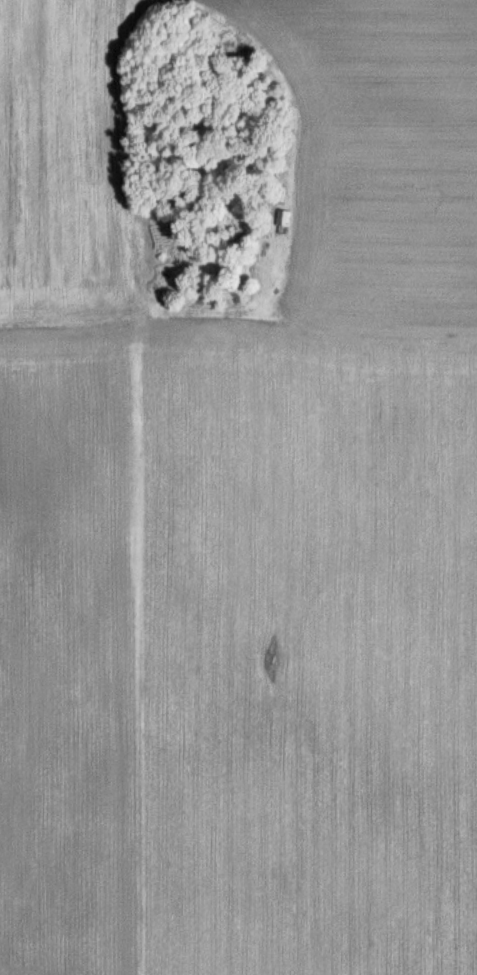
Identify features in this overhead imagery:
building: (284, 216)

